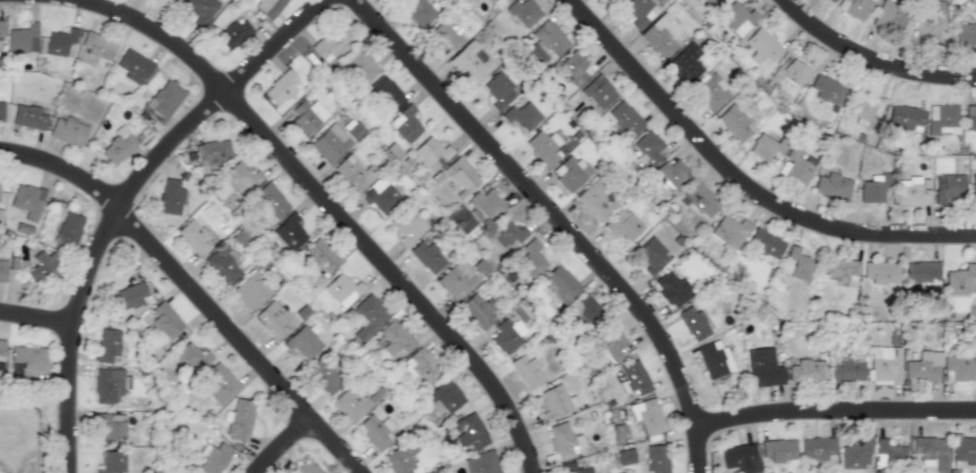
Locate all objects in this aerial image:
building: (831, 1)
building: (711, 2)
building: (498, 3)
building: (268, 6)
building: (854, 8)
building: (199, 10)
building: (639, 11)
building: (523, 12)
building: (419, 13)
building: (737, 17)
building: (887, 20)
building: (929, 26)
building: (1, 27)
building: (233, 33)
building: (963, 34)
building: (661, 35)
building: (444, 36)
building: (23, 39)
building: (59, 41)
building: (546, 41)
building: (329, 43)
building: (97, 46)
building: (761, 46)
road: (874, 58)
building: (469, 63)
building: (685, 63)
building: (133, 66)
building: (359, 66)
building: (574, 67)
building: (790, 76)
building: (281, 87)
building: (827, 89)
building: (499, 90)
building: (598, 91)
building: (386, 92)
building: (163, 100)
building: (1, 110)
building: (865, 111)
building: (521, 115)
building: (306, 116)
building: (904, 116)
building: (27, 117)
building: (970, 117)
building: (625, 118)
building: (942, 119)
building: (735, 123)
building: (405, 125)
building: (352, 129)
building: (67, 131)
building: (330, 143)
building: (542, 146)
building: (647, 147)
building: (765, 147)
building: (117, 148)
building: (212, 152)
building: (431, 153)
building: (797, 166)
building: (353, 172)
building: (570, 172)
building: (671, 173)
building: (460, 174)
road: (743, 177)
building: (240, 179)
building: (832, 185)
building: (948, 186)
building: (973, 187)
building: (874, 188)
building: (912, 191)
building: (380, 196)
building: (170, 197)
building: (699, 198)
road: (123, 199)
building: (270, 199)
building: (595, 200)
building: (483, 204)
building: (33, 208)
road: (334, 208)
road: (559, 219)
building: (407, 224)
building: (622, 224)
building: (69, 229)
building: (289, 231)
building: (727, 231)
building: (507, 232)
building: (194, 237)
building: (764, 243)
building: (320, 255)
building: (651, 255)
building: (426, 256)
building: (529, 258)
building: (221, 264)
building: (796, 264)
building: (480, 267)
building: (838, 267)
building: (45, 268)
building: (2, 271)
building: (880, 271)
building: (922, 274)
building: (456, 279)
building: (959, 279)
building: (560, 283)
building: (671, 288)
building: (341, 289)
road: (196, 290)
building: (250, 290)
building: (129, 296)
building: (584, 308)
building: (476, 311)
building: (366, 317)
road: (37, 318)
building: (269, 318)
building: (164, 320)
building: (693, 323)
building: (507, 334)
building: (395, 338)
building: (302, 342)
building: (611, 343)
building: (107, 344)
building: (2, 347)
building: (192, 358)
building: (713, 358)
building: (28, 359)
building: (883, 364)
building: (420, 366)
building: (763, 367)
building: (922, 367)
building: (958, 368)
building: (806, 370)
building: (846, 370)
building: (526, 371)
building: (322, 376)
building: (633, 377)
building: (107, 384)
building: (219, 384)
building: (443, 396)
building: (556, 401)
building: (350, 404)
road: (836, 408)
building: (646, 415)
building: (238, 420)
park: (26, 427)
building: (111, 427)
building: (375, 431)
building: (469, 431)
building: (619, 431)
building: (564, 439)
road: (282, 442)
building: (816, 447)
building: (777, 449)
building: (964, 449)
building: (930, 452)
building: (888, 453)
building: (855, 454)
building: (213, 457)
building: (401, 458)
building: (656, 458)
building: (740, 458)
building: (111, 462)
building: (482, 463)
building: (305, 467)
building: (575, 468)

